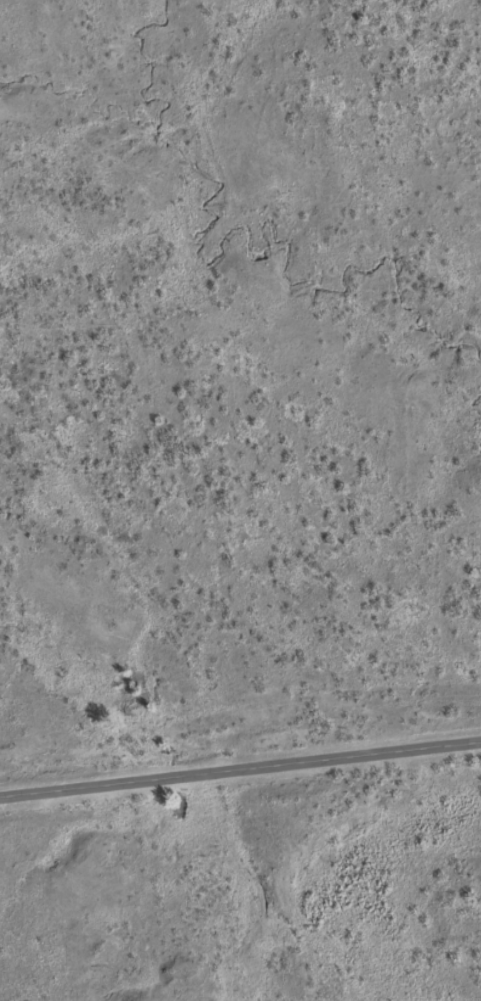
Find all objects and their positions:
road: (240, 769)

